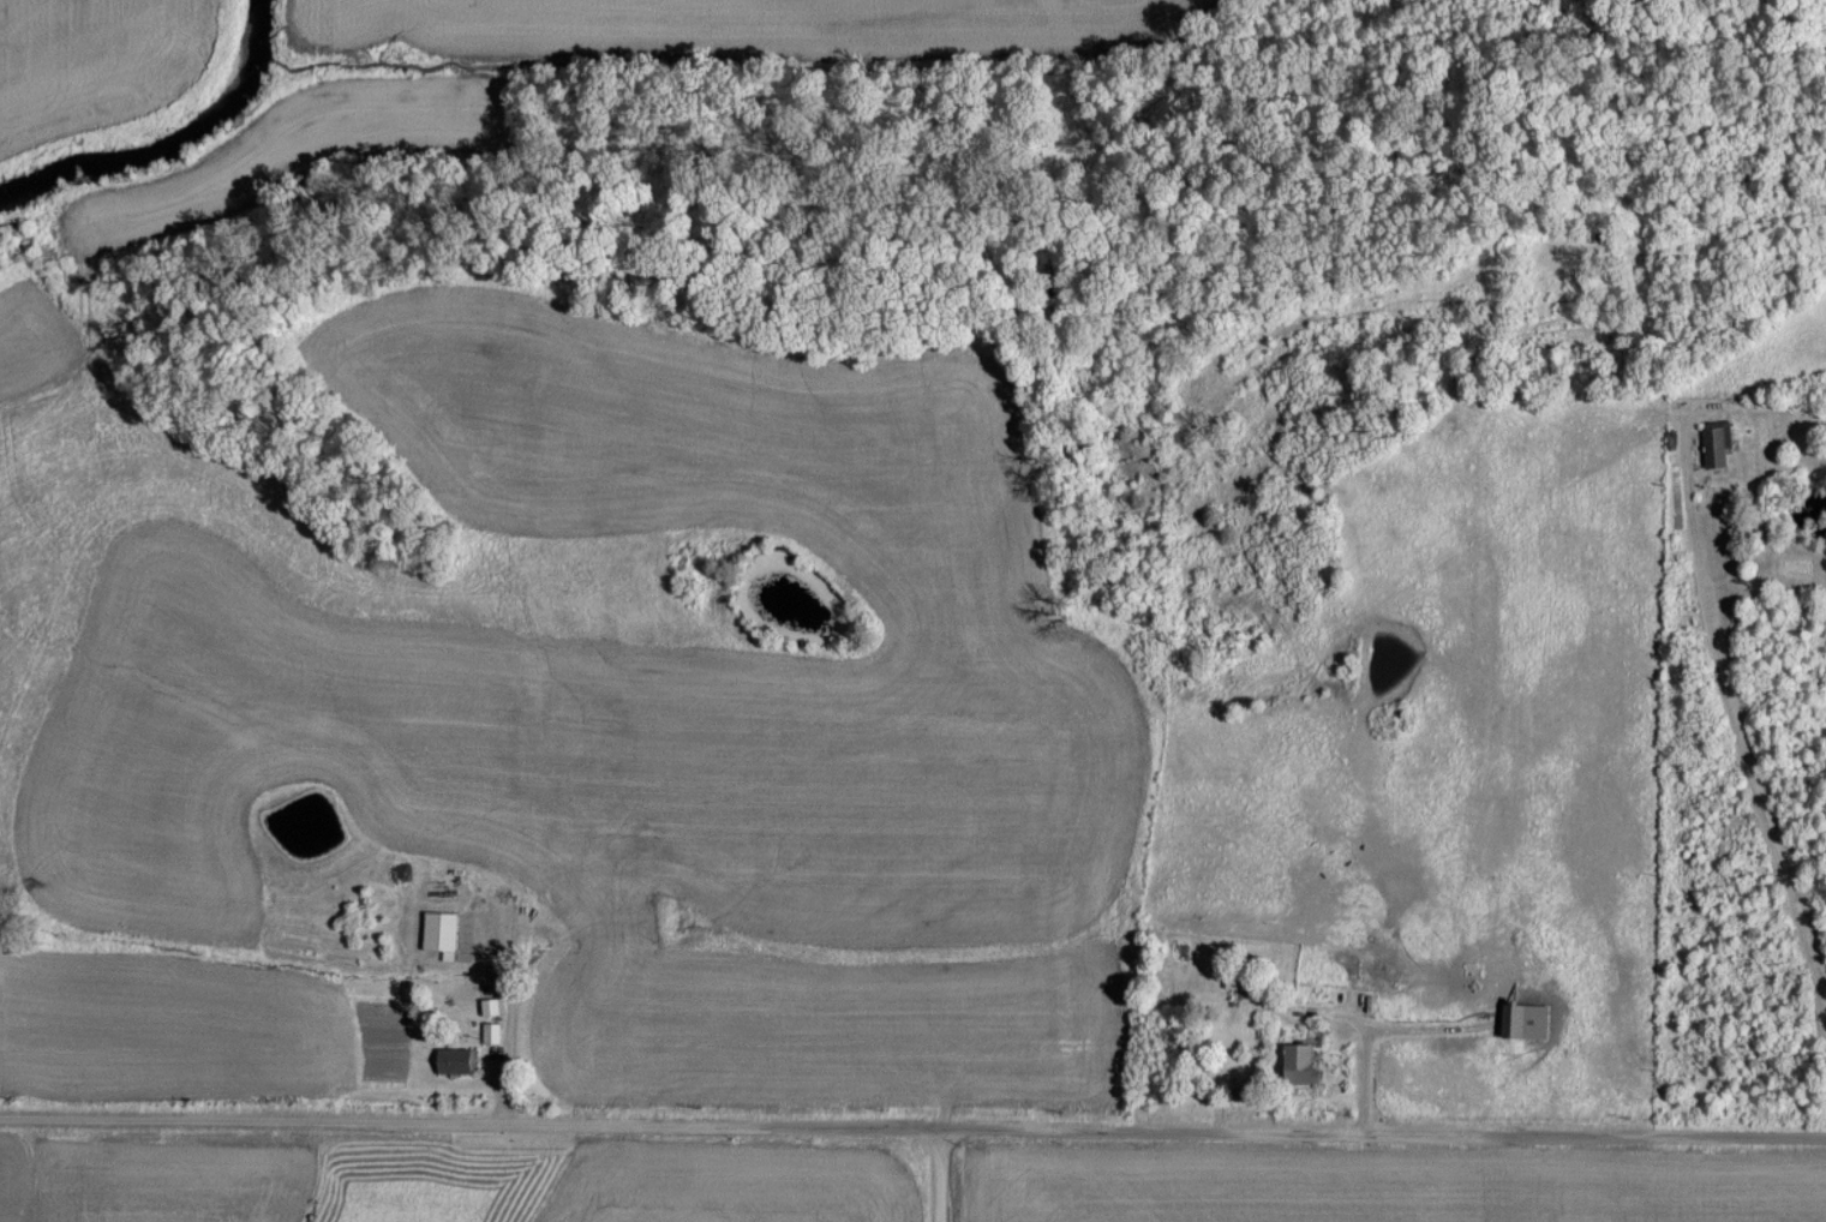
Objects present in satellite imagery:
building: (1713, 444)
building: (437, 932)
building: (487, 1005)
building: (1523, 1020)
building: (489, 1031)
building: (450, 1060)
building: (1295, 1062)
road: (912, 1122)
road: (941, 1173)

